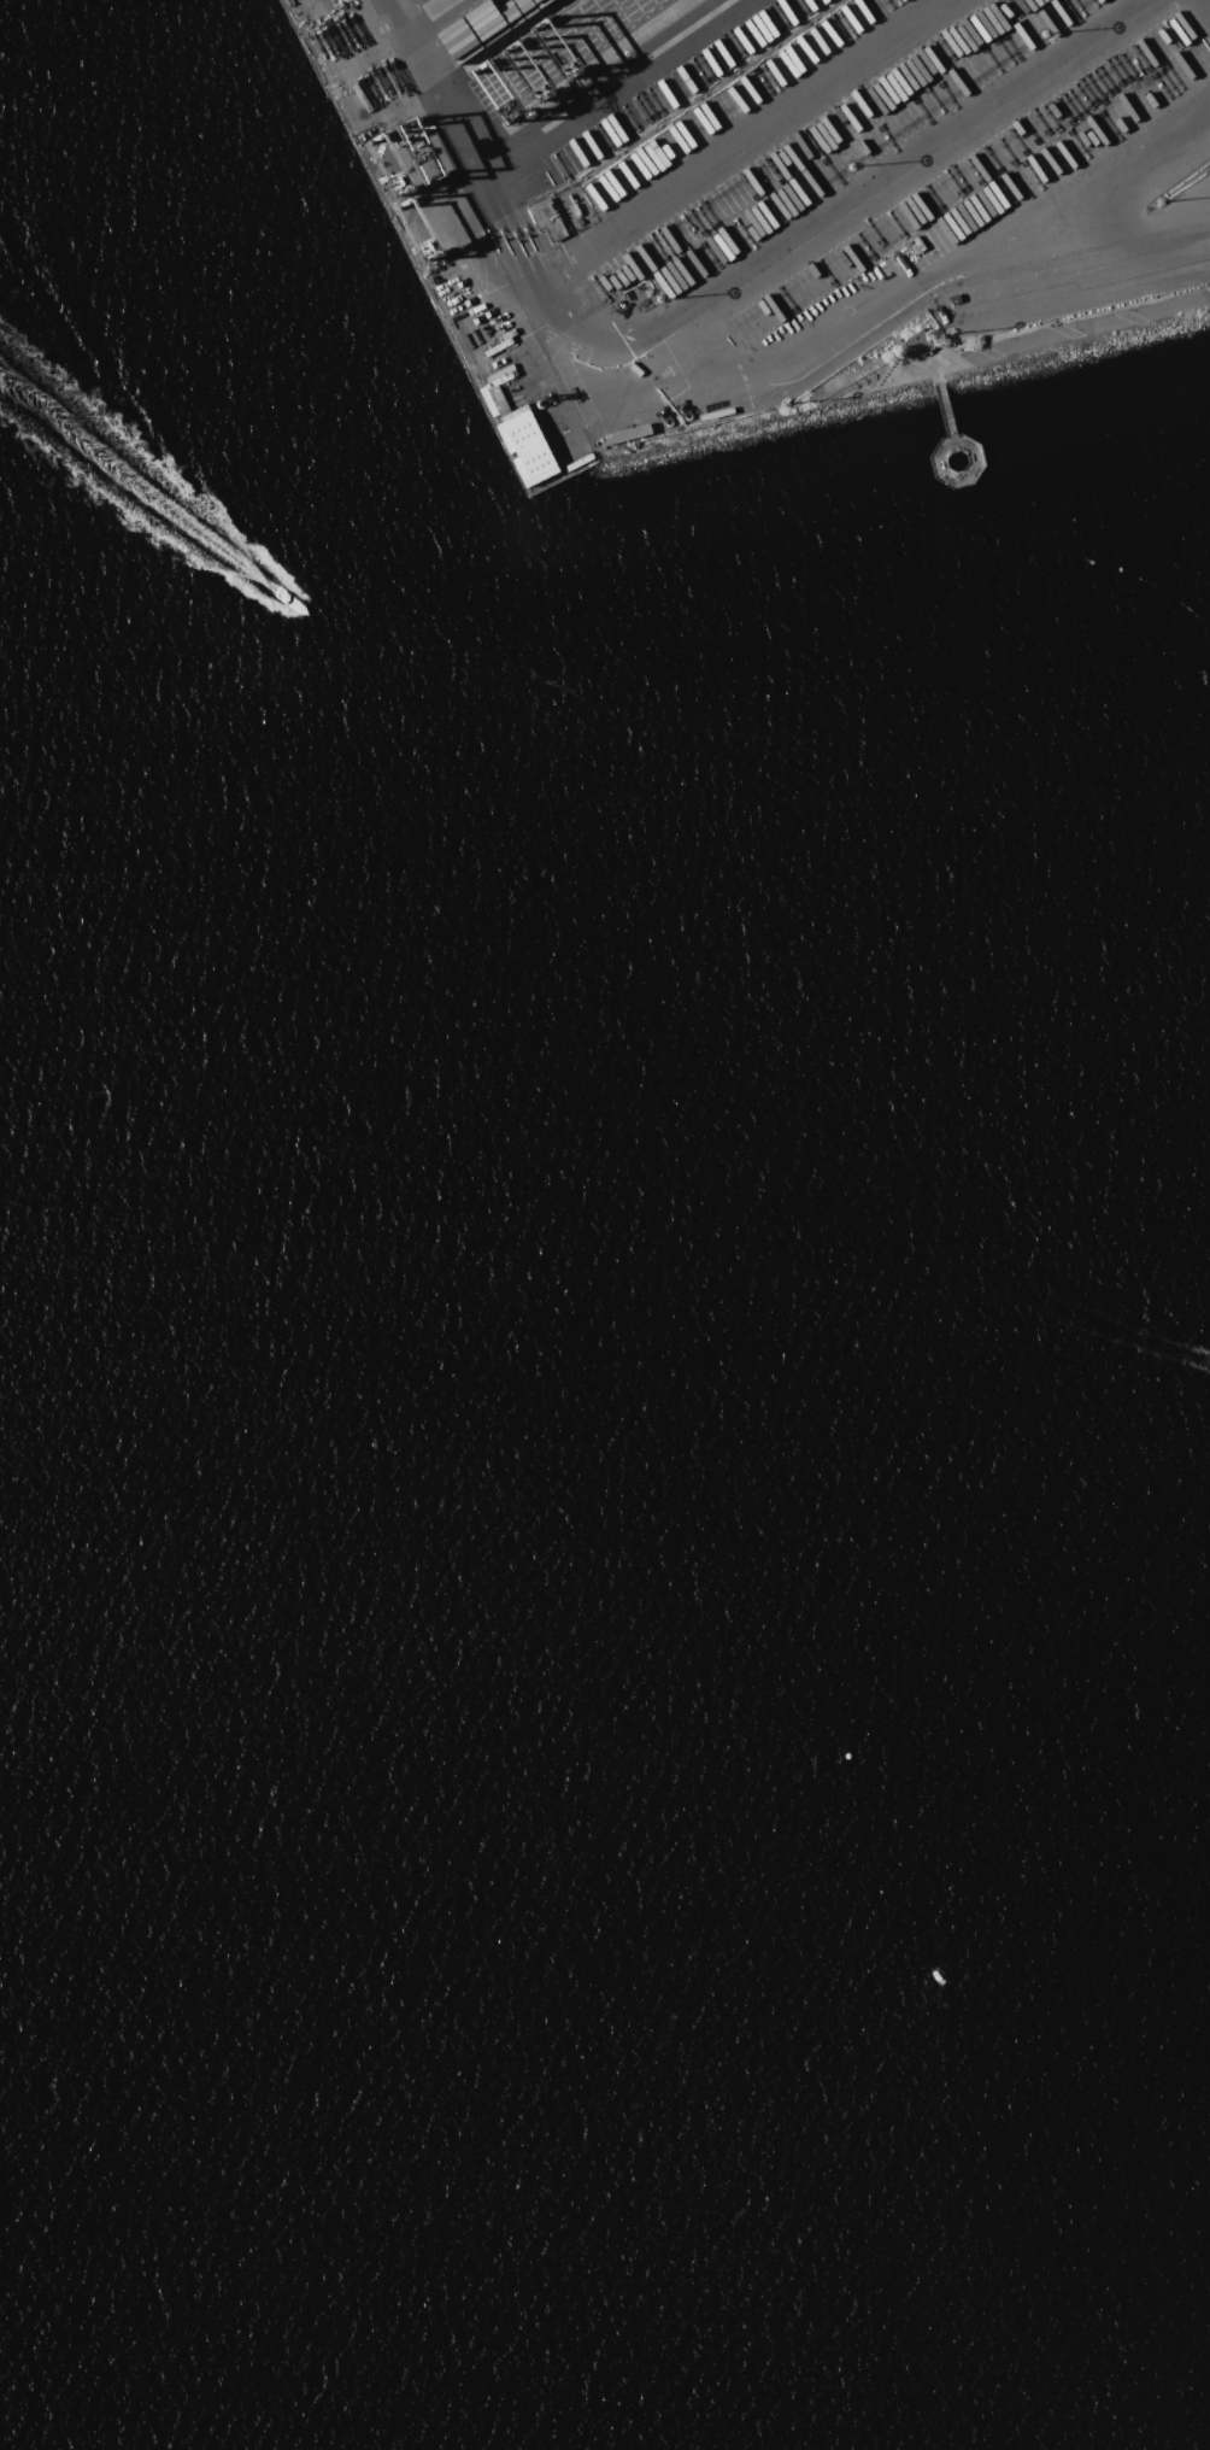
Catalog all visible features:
road: (1209, 1)
building: (516, 10)
road: (428, 11)
road: (599, 83)
road: (739, 142)
road: (716, 305)
building: (922, 342)
road: (1030, 346)
park: (1010, 348)
building: (498, 400)
building: (705, 406)
pier: (945, 406)
building: (629, 436)
building: (527, 447)
pier: (976, 458)
pier: (939, 459)
building: (578, 463)

